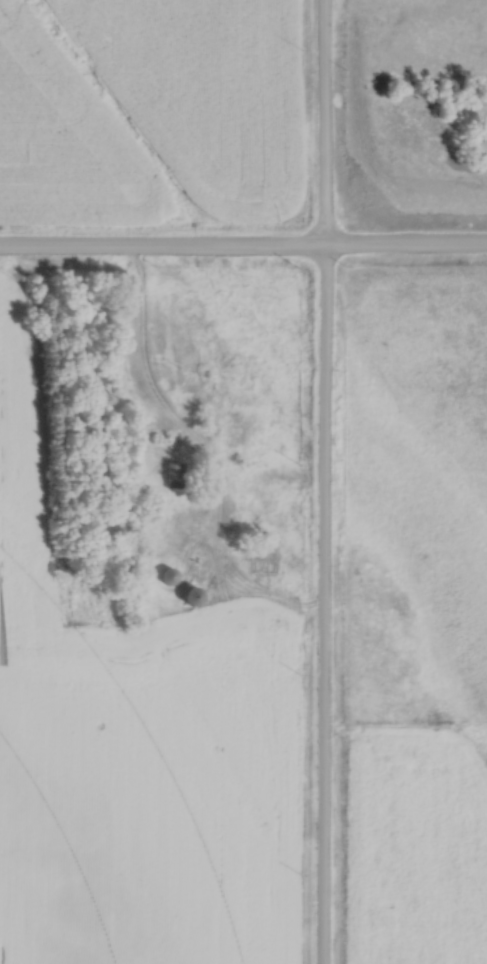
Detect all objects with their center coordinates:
road: (243, 253)
road: (210, 458)
building: (170, 474)
road: (324, 482)
building: (167, 576)
building: (188, 593)

